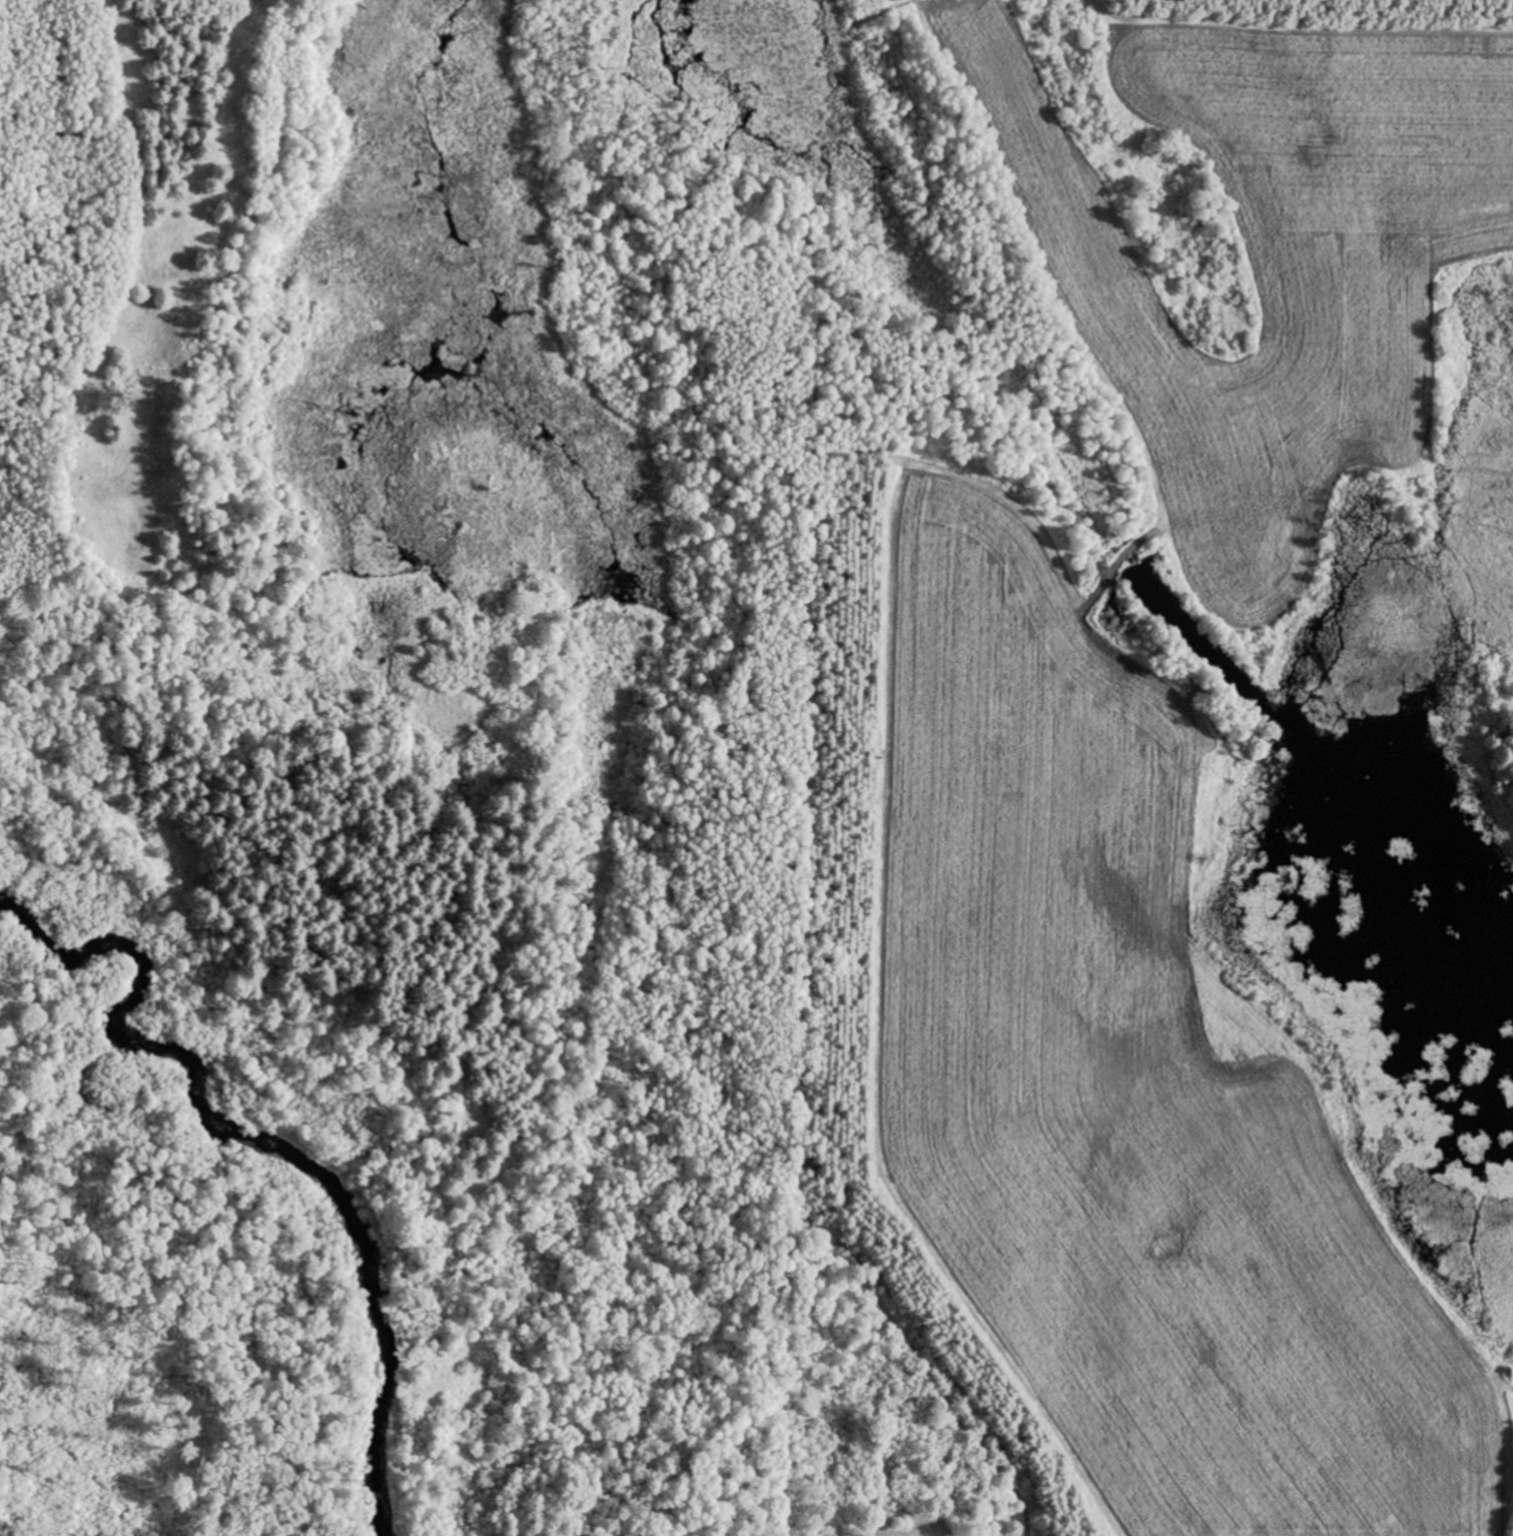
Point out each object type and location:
river: (187, 1070)
river: (367, 1410)

